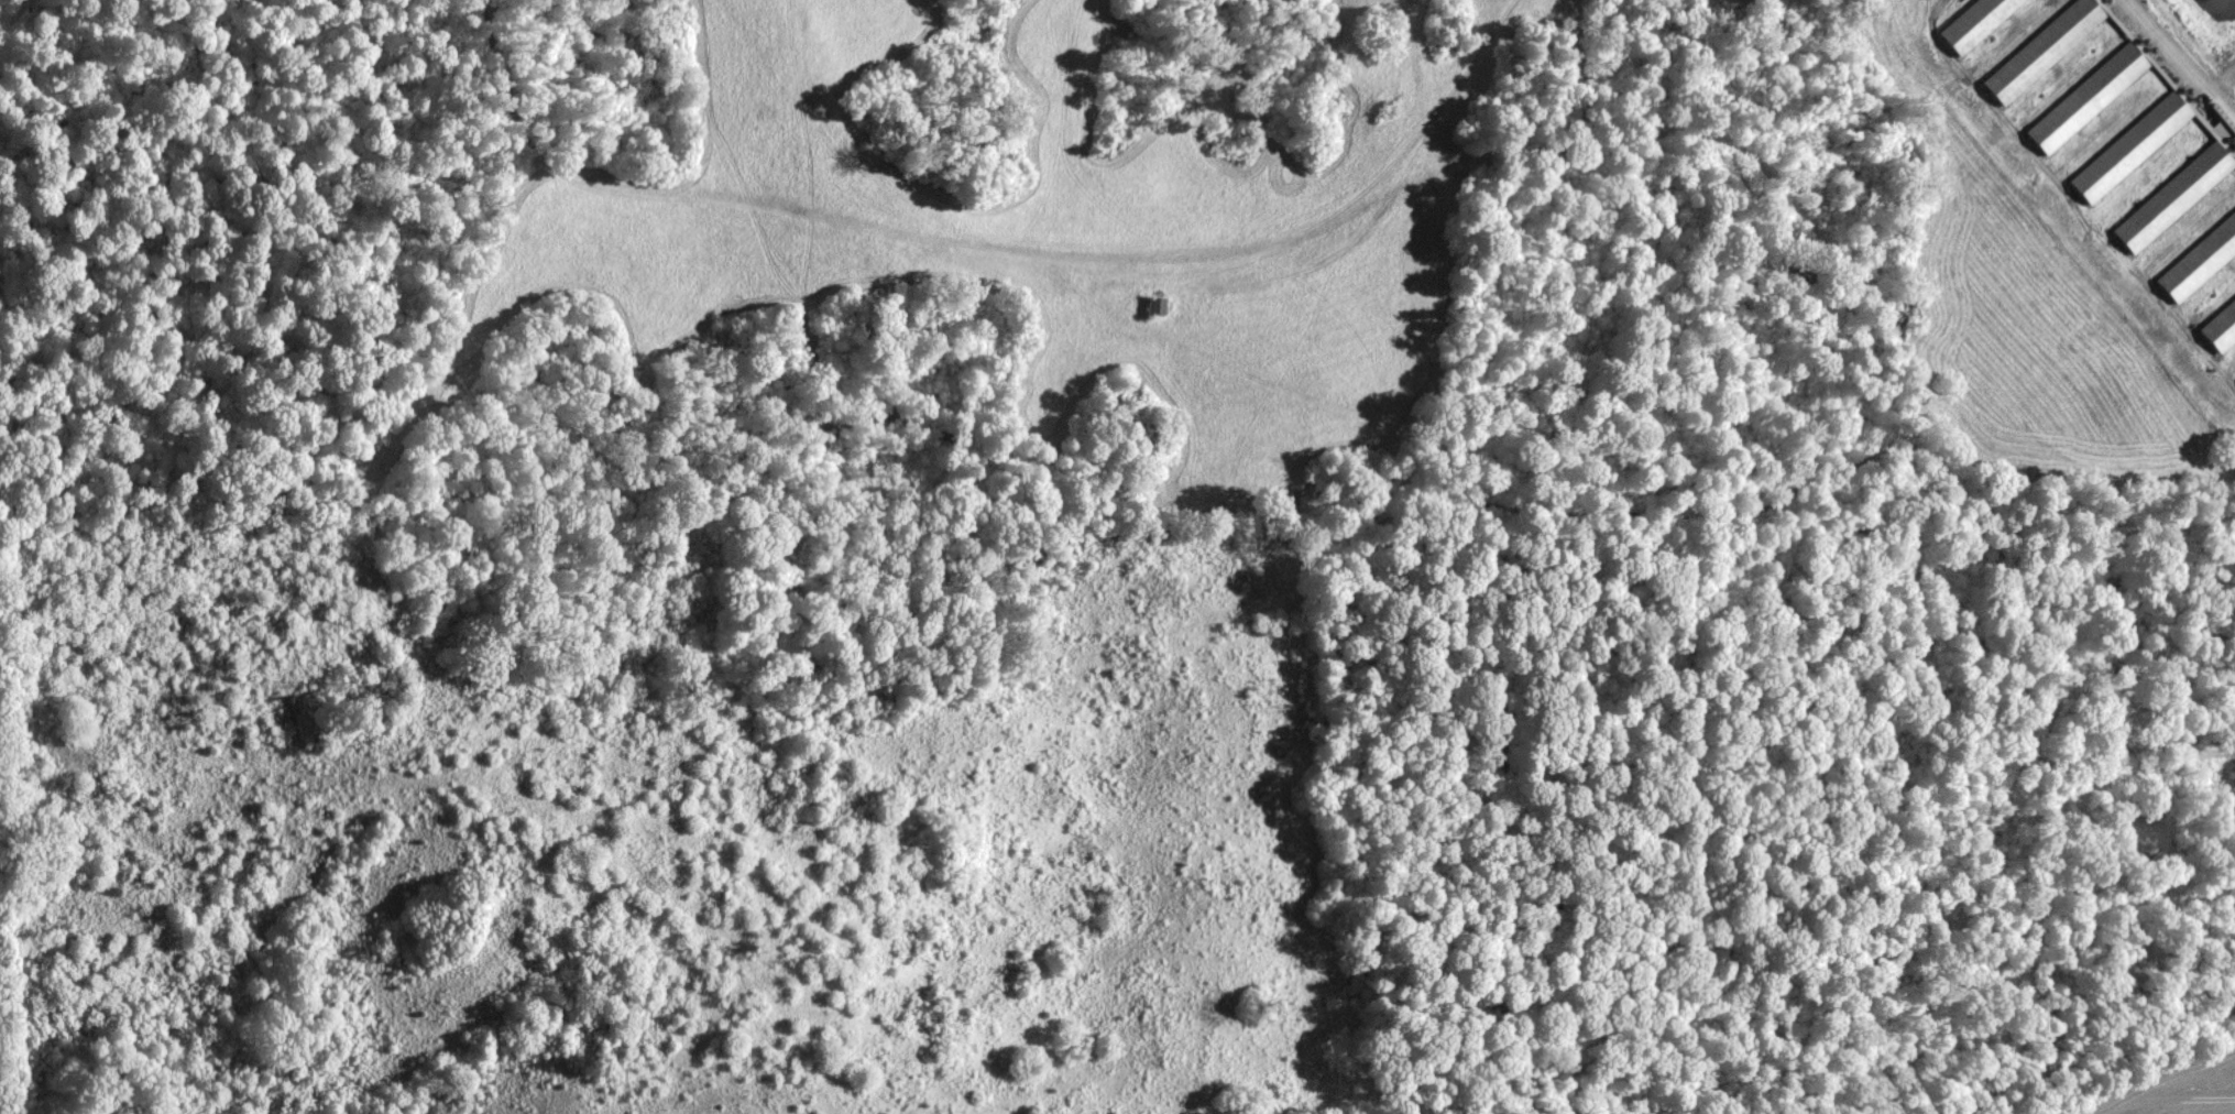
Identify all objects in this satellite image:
building: (1975, 22)
building: (2042, 51)
building: (2086, 99)
building: (2129, 149)
building: (2173, 198)
building: (2199, 262)
building: (1155, 307)
building: (2220, 328)

